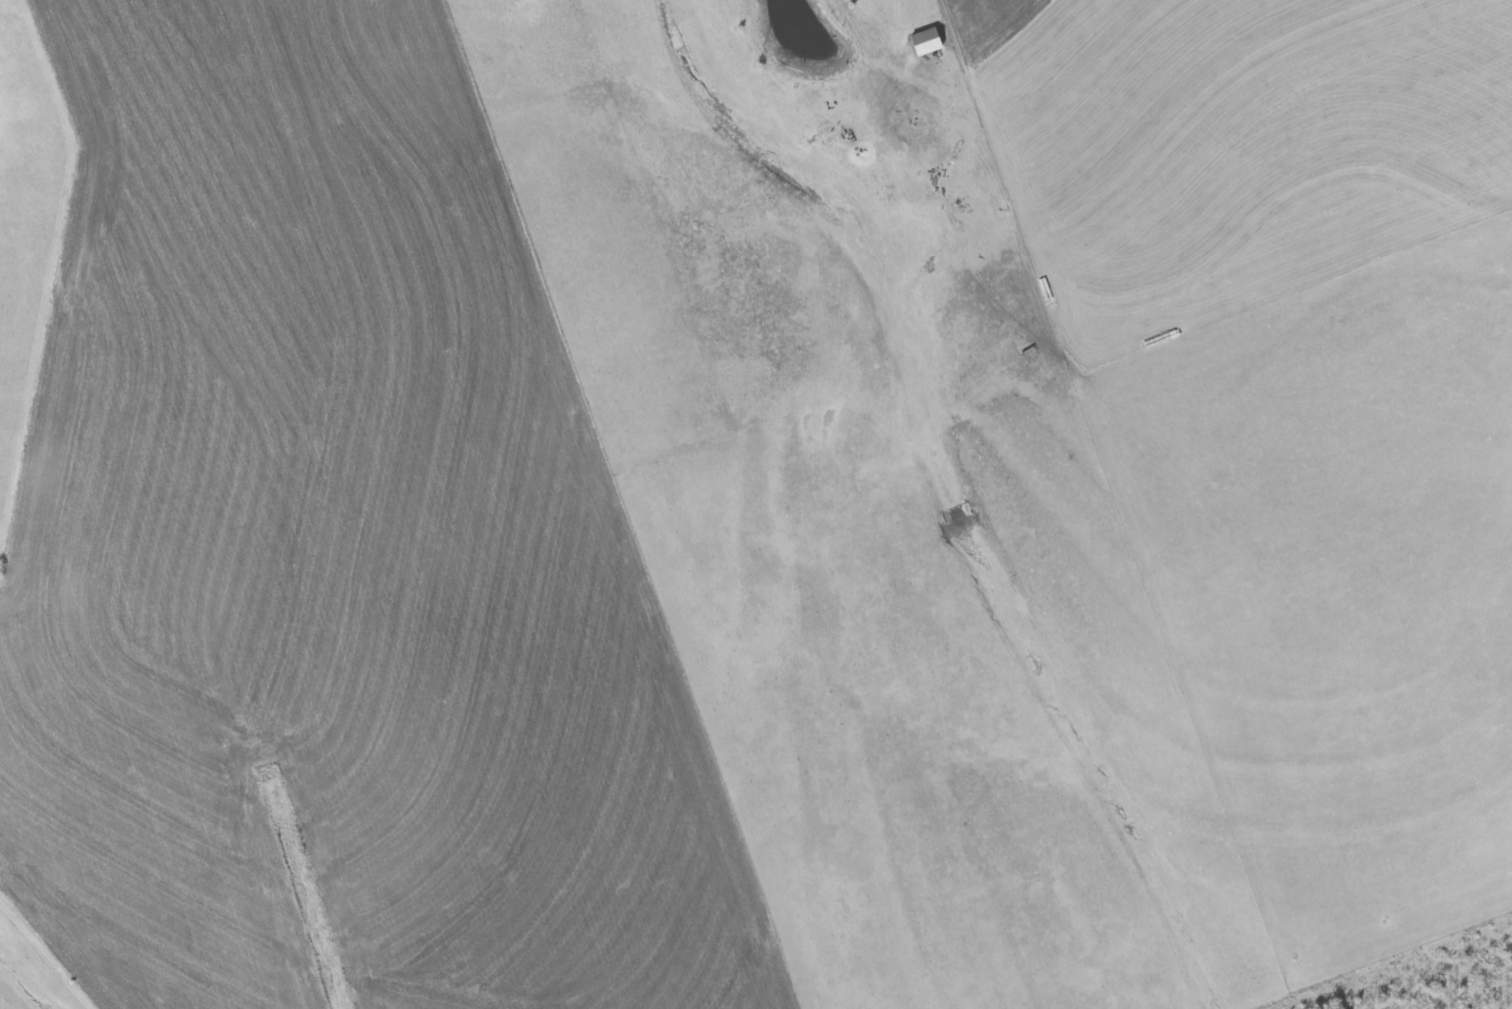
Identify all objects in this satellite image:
building: (926, 41)

